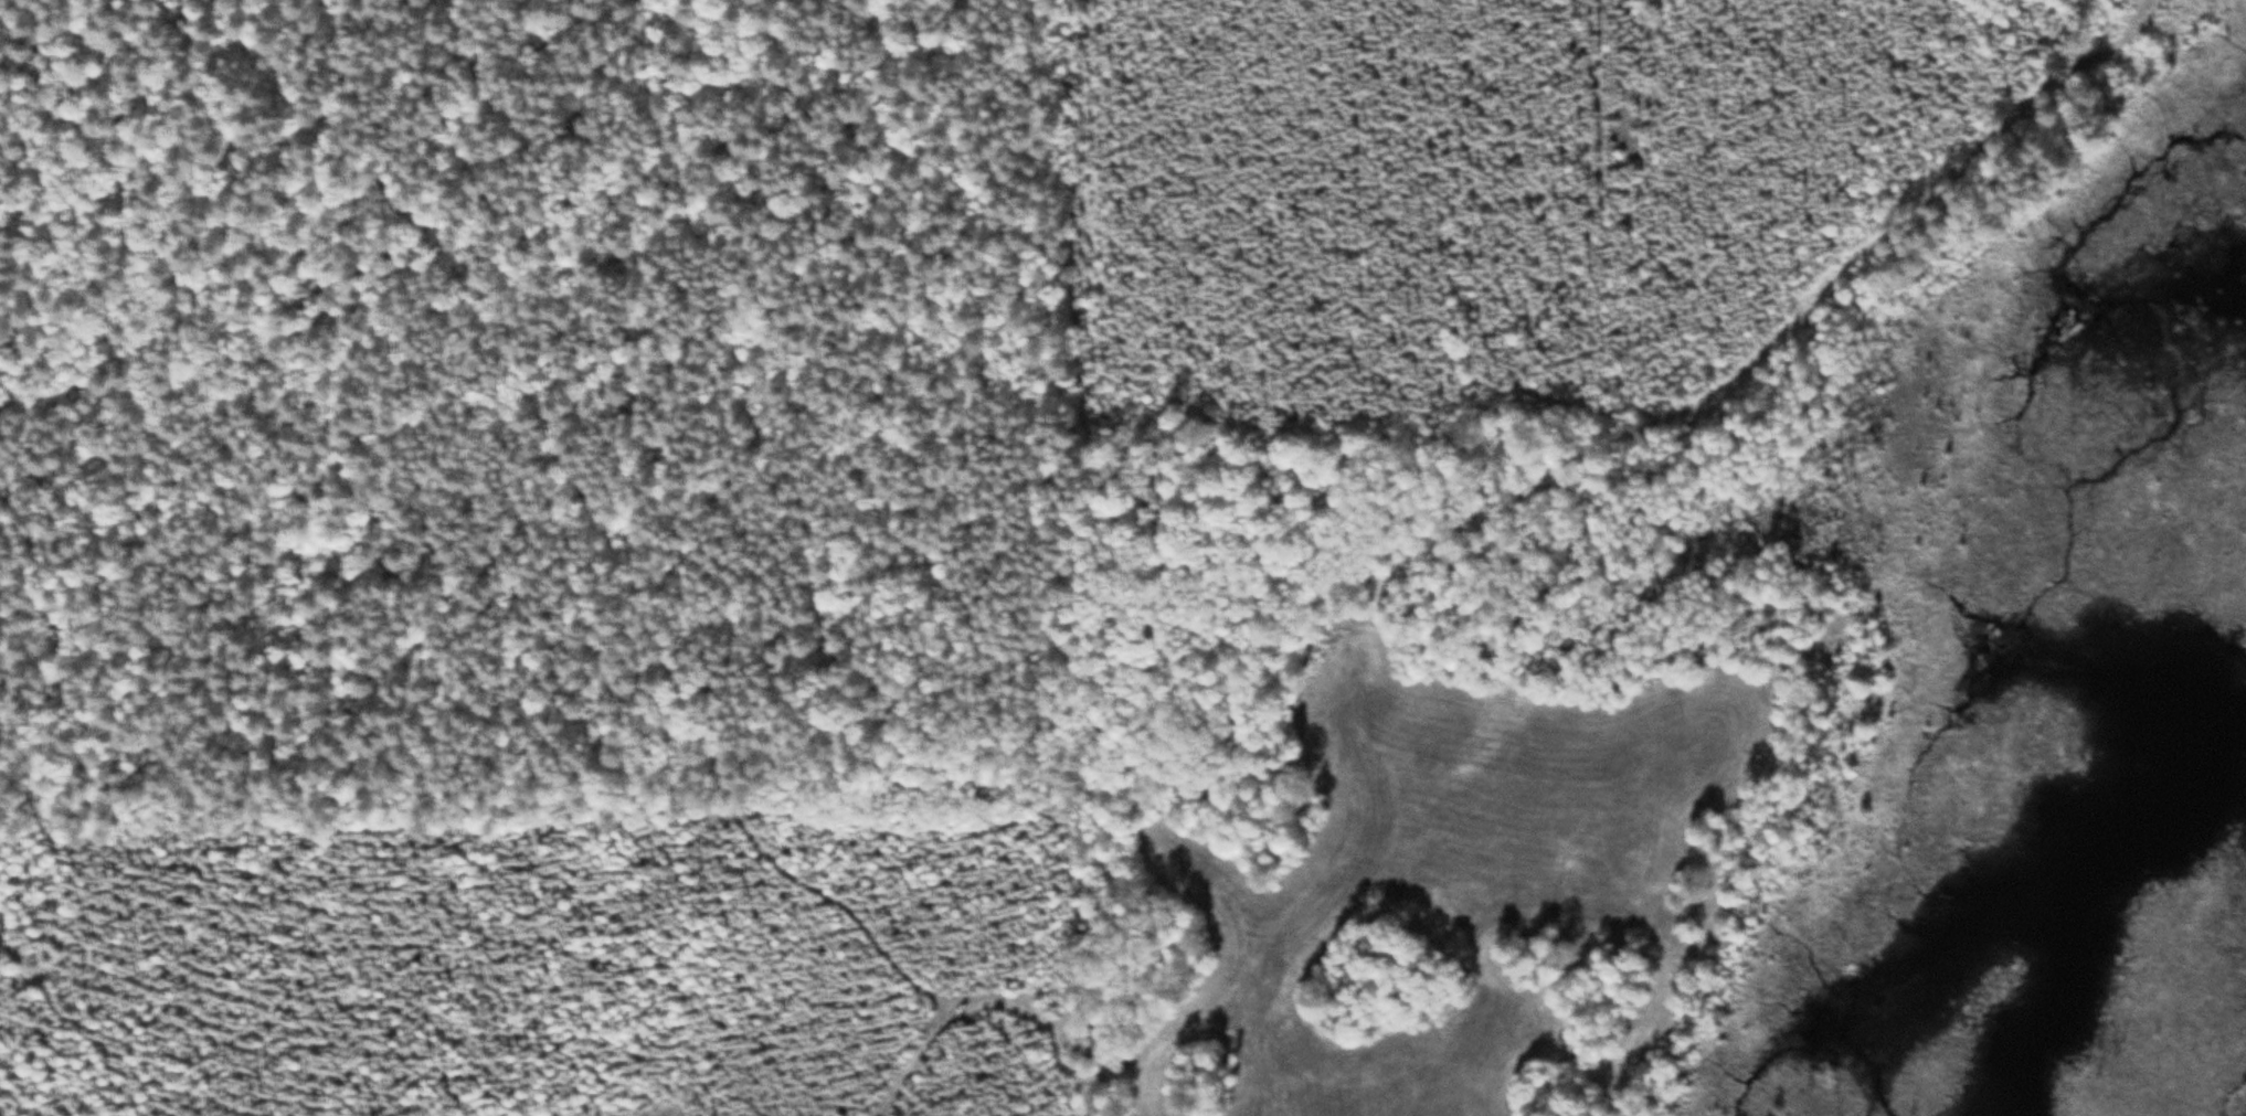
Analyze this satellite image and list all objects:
road: (64, 185)
road: (603, 499)
road: (954, 1011)

